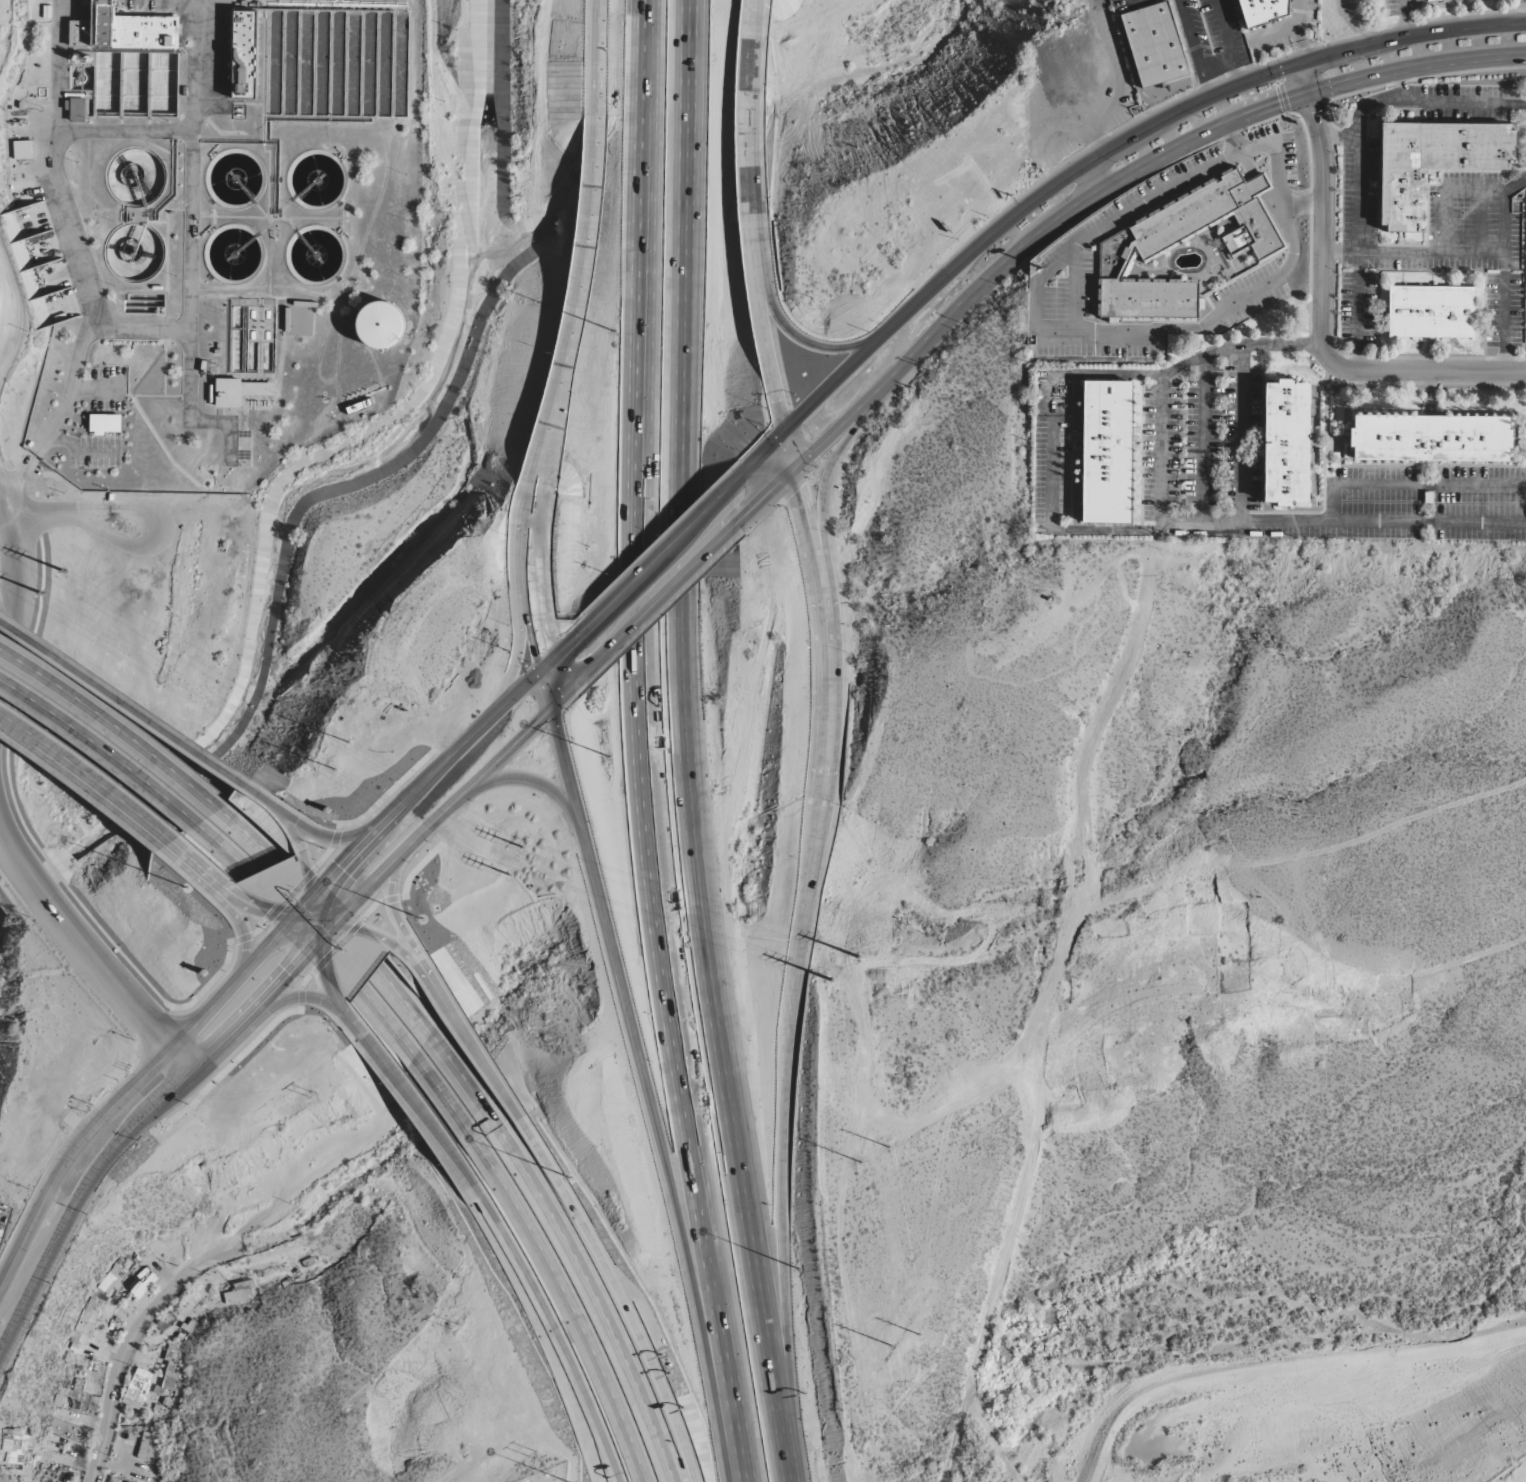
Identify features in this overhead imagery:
building: (1431, 0)
building: (1263, 11)
road: (1404, 19)
road: (1357, 24)
building: (121, 30)
road: (1298, 32)
building: (1153, 44)
building: (239, 54)
road: (595, 63)
traffic signals: (1300, 65)
road: (192, 66)
road: (58, 69)
traffic signals: (1310, 95)
road: (748, 100)
road: (1382, 100)
road: (1465, 101)
building: (76, 110)
road: (141, 132)
building: (22, 150)
building: (1433, 163)
road: (1081, 169)
road: (1095, 179)
road: (1081, 206)
road: (1505, 209)
wastewater plant: (212, 230)
road: (1358, 233)
building: (1252, 242)
road: (1474, 251)
road: (573, 308)
road: (1324, 311)
building: (1430, 312)
road: (12, 316)
road: (769, 316)
building: (378, 325)
storage tank: (378, 325)
road: (139, 330)
road: (814, 338)
road: (1172, 366)
road: (98, 387)
parking lot: (108, 388)
building: (227, 393)
building: (358, 407)
building: (103, 424)
traffic signals: (790, 430)
building: (1429, 438)
building: (1284, 442)
road: (79, 451)
building: (1106, 452)
parking lot: (93, 453)
traffic signals: (797, 464)
road: (18, 476)
road: (826, 479)
road: (658, 559)
power tower: (65, 569)
road: (527, 580)
power tower: (43, 592)
road: (659, 597)
road: (27, 600)
road: (562, 652)
road: (513, 669)
traffic signals: (539, 674)
road: (122, 703)
traffic signals: (550, 708)
road: (112, 724)
road: (648, 739)
road: (679, 745)
road: (99, 750)
road: (88, 774)
road: (531, 782)
road: (297, 824)
road: (247, 836)
power tower: (522, 846)
road: (223, 850)
road: (1297, 858)
road: (201, 869)
power tower: (509, 870)
road: (315, 891)
traffic signals: (315, 891)
traffic signals: (328, 912)
traffic signals: (317, 913)
road: (295, 914)
traffic signals: (294, 915)
road: (399, 922)
traffic signals: (316, 924)
traffic signals: (326, 924)
traffic signals: (338, 924)
road: (351, 926)
road: (243, 933)
road: (323, 939)
traffic signals: (324, 939)
road: (801, 953)
power tower: (856, 954)
road: (1479, 954)
road: (91, 959)
road: (248, 965)
power tower: (831, 975)
road: (269, 996)
road: (403, 1001)
road: (326, 1002)
road: (1051, 1014)
road: (387, 1023)
road: (474, 1045)
road: (456, 1068)
road: (645, 1072)
road: (441, 1091)
road: (935, 1114)
road: (424, 1116)
power tower: (886, 1139)
road: (884, 1149)
power tower: (860, 1159)
road: (838, 1214)
building: (111, 1280)
road: (590, 1289)
building: (240, 1293)
road: (625, 1293)
road: (566, 1299)
power tower: (911, 1323)
building: (83, 1326)
road: (551, 1332)
road: (132, 1339)
power tower: (884, 1358)
building: (170, 1367)
building: (137, 1388)
building: (77, 1397)
building: (65, 1430)
building: (14, 1446)
building: (148, 1449)
park: (549, 1473)
road: (749, 1477)
building: (45, 1480)

